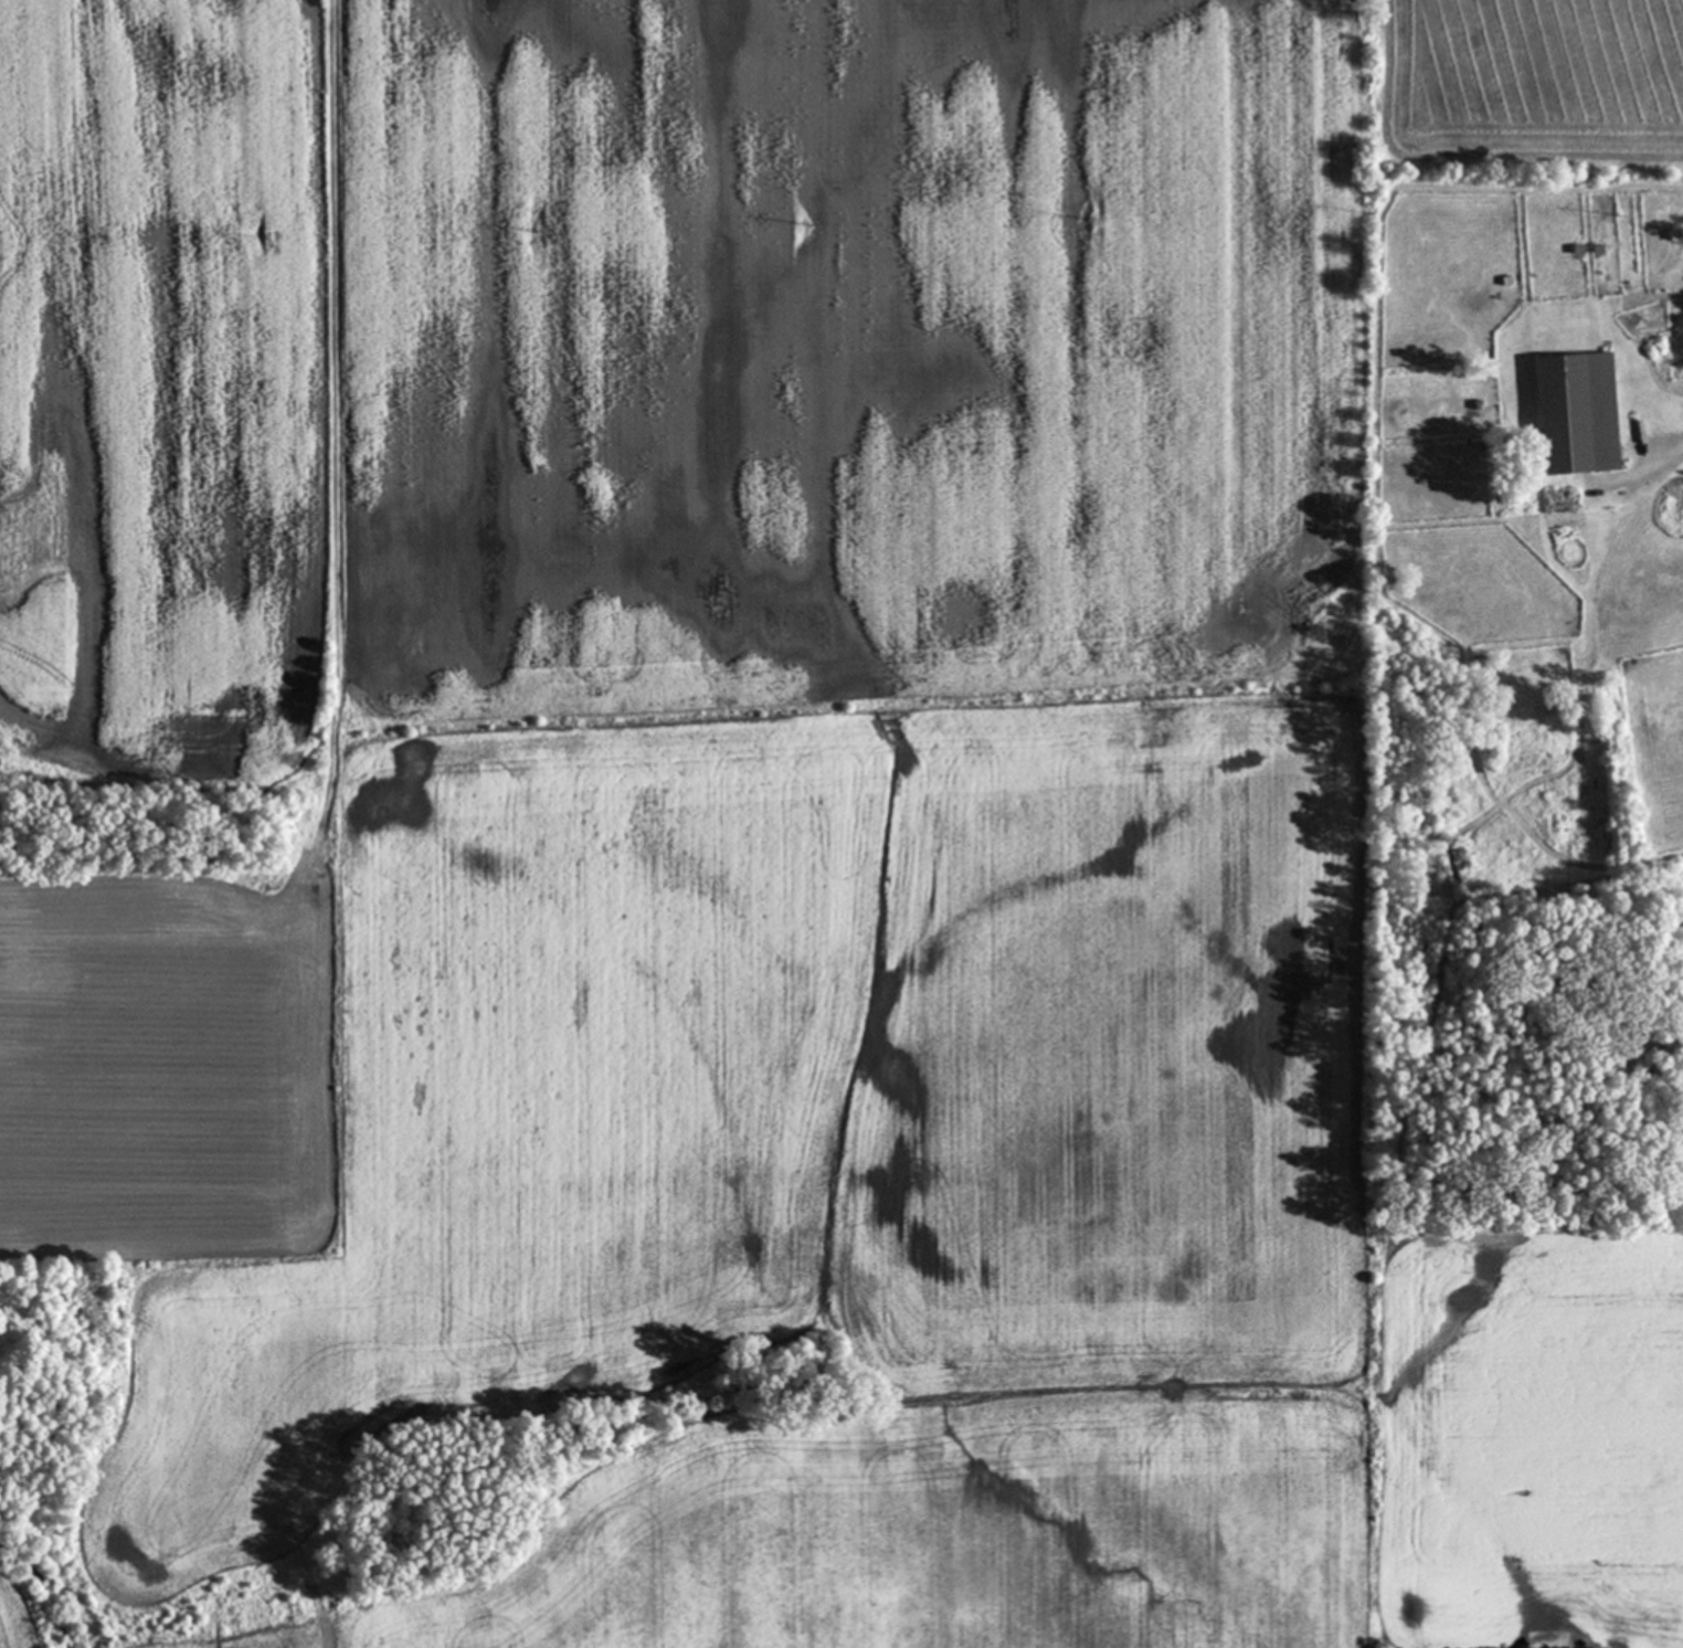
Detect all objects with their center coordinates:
building: (1571, 415)
road: (1680, 451)

